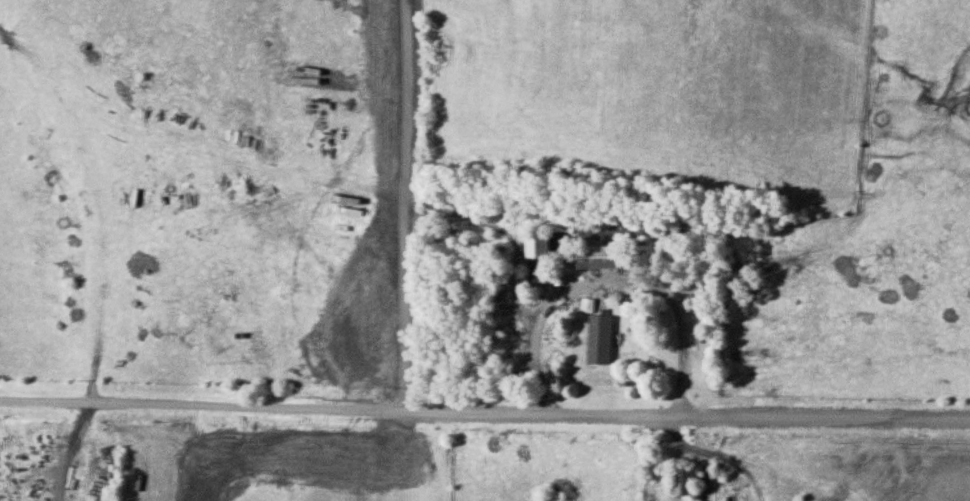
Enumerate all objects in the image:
building: (386, 67)
road: (91, 209)
building: (536, 256)
building: (600, 256)
building: (694, 289)
building: (601, 338)
road: (484, 410)
building: (685, 482)

